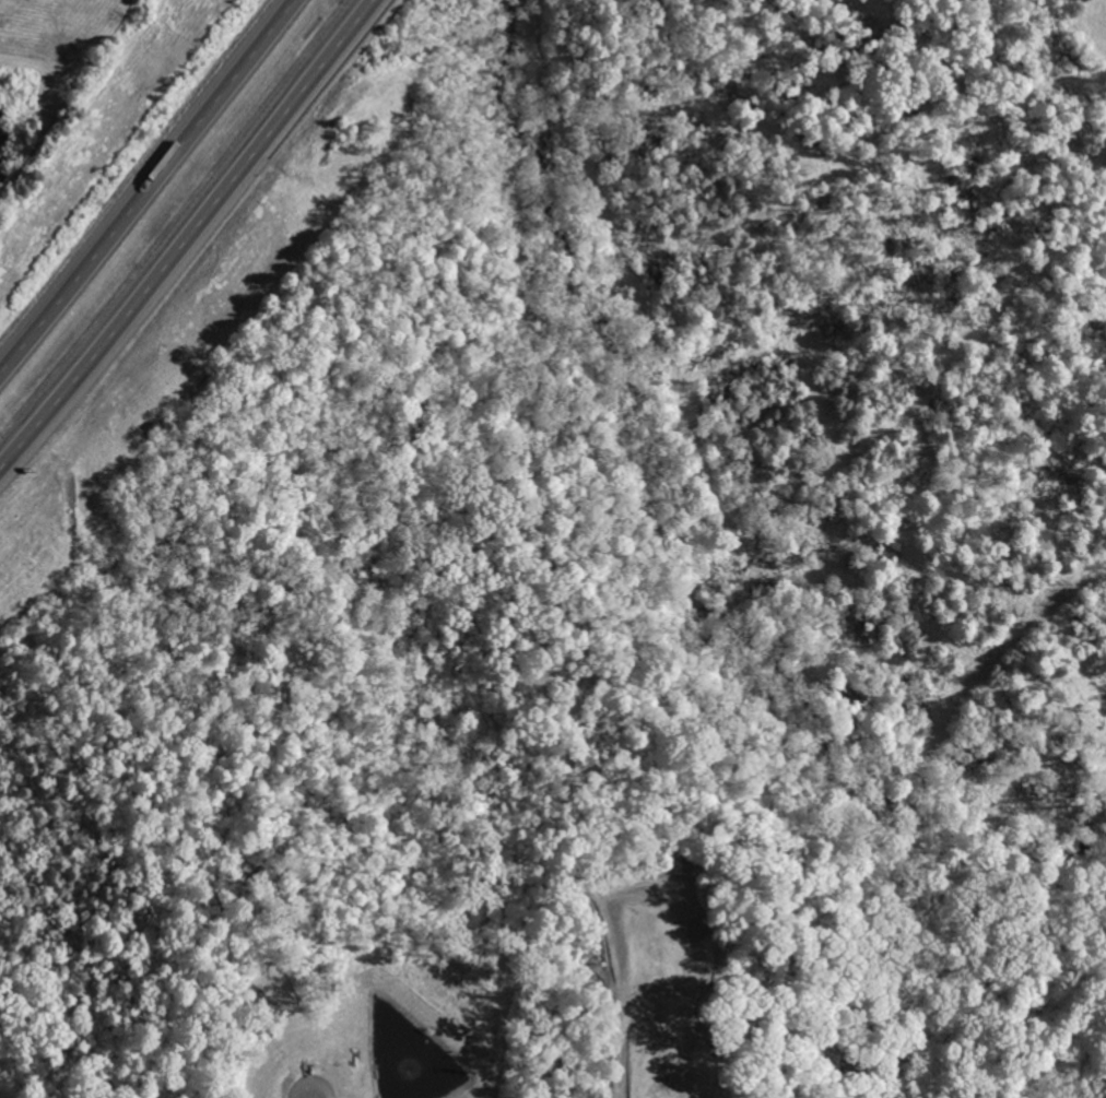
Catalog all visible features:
road: (153, 192)
road: (191, 235)

